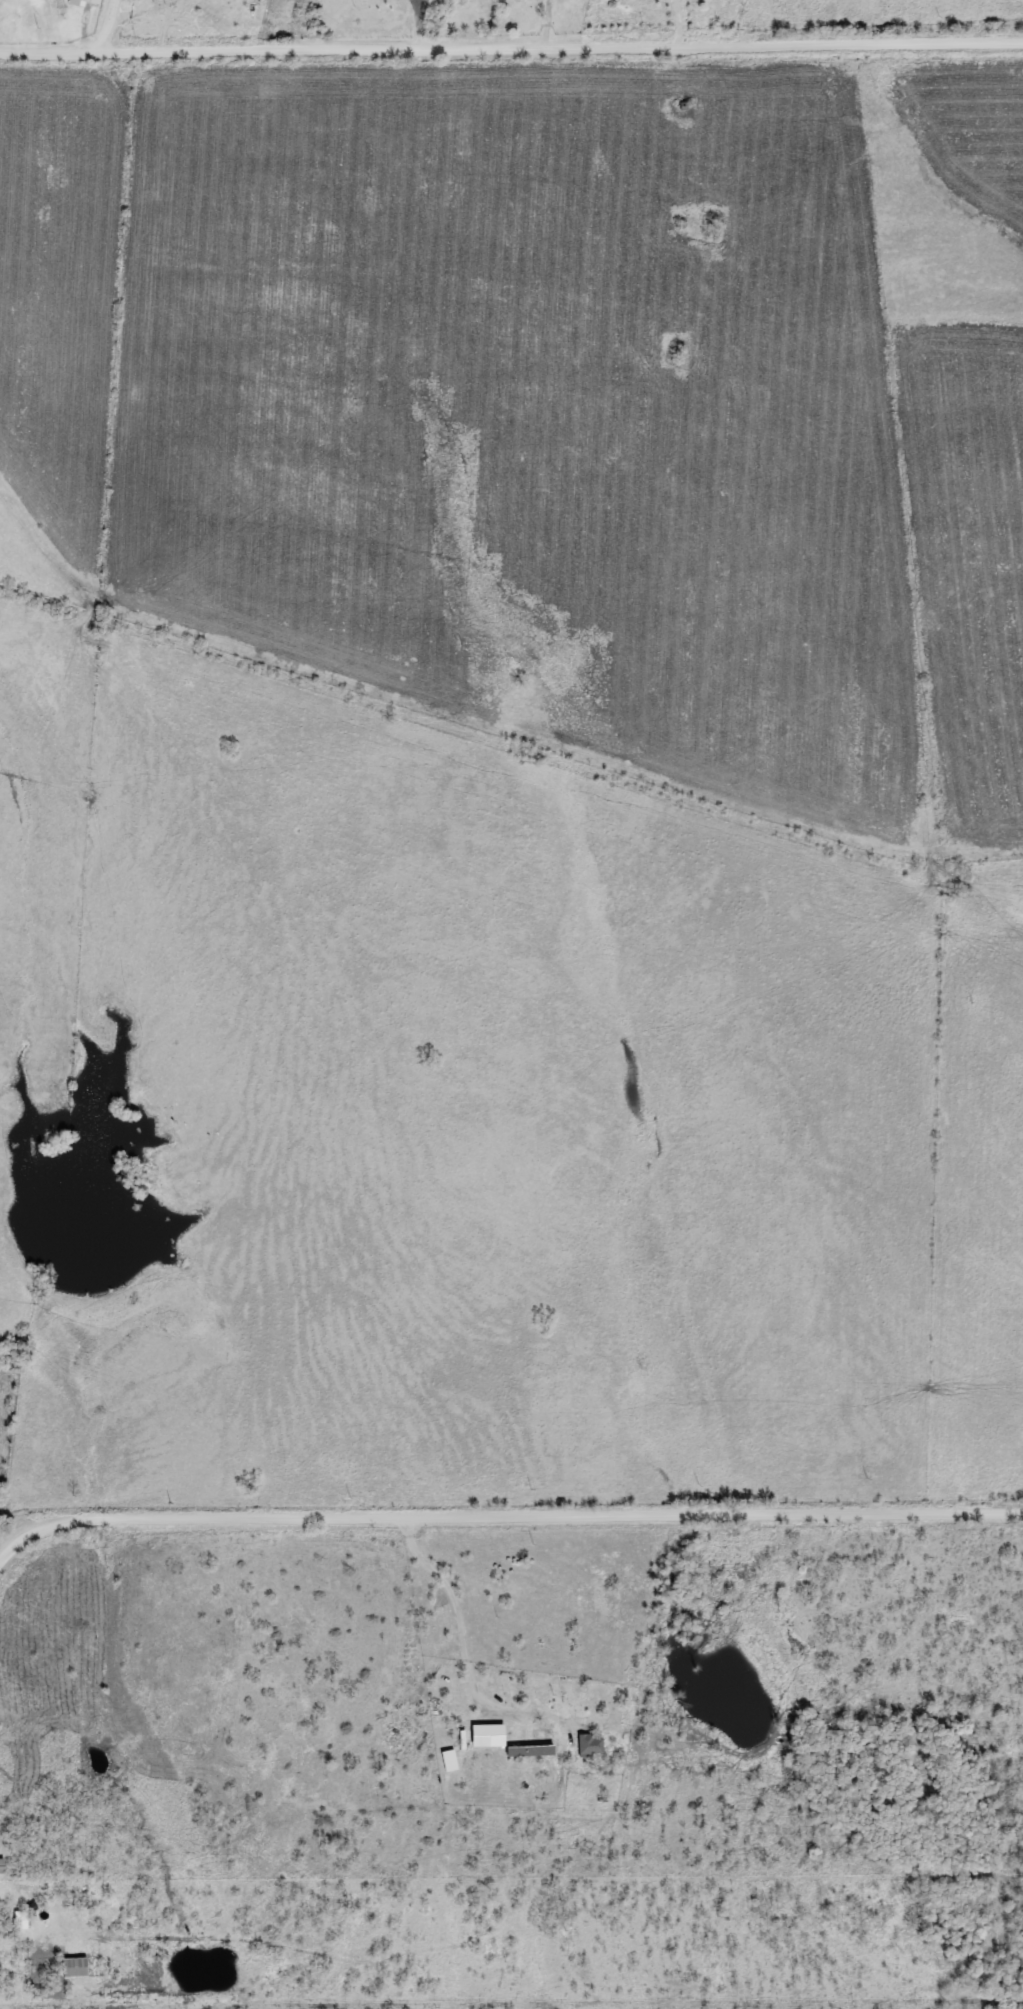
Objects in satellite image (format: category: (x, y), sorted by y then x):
road: (127, 15)
road: (548, 23)
road: (680, 23)
road: (108, 24)
road: (562, 46)
road: (50, 51)
road: (503, 1515)
road: (44, 1805)
road: (41, 1855)

